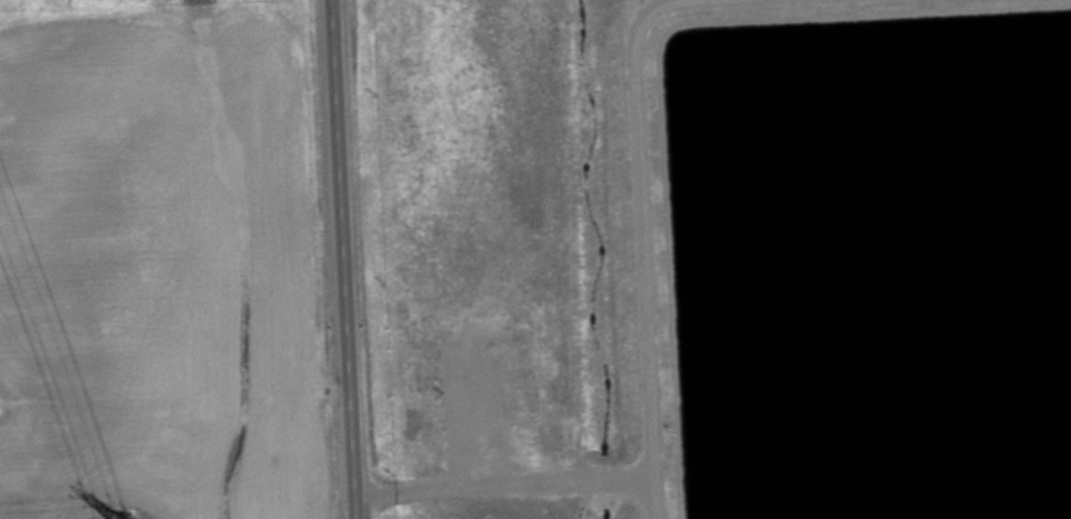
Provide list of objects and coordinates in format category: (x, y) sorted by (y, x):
road: (346, 259)

